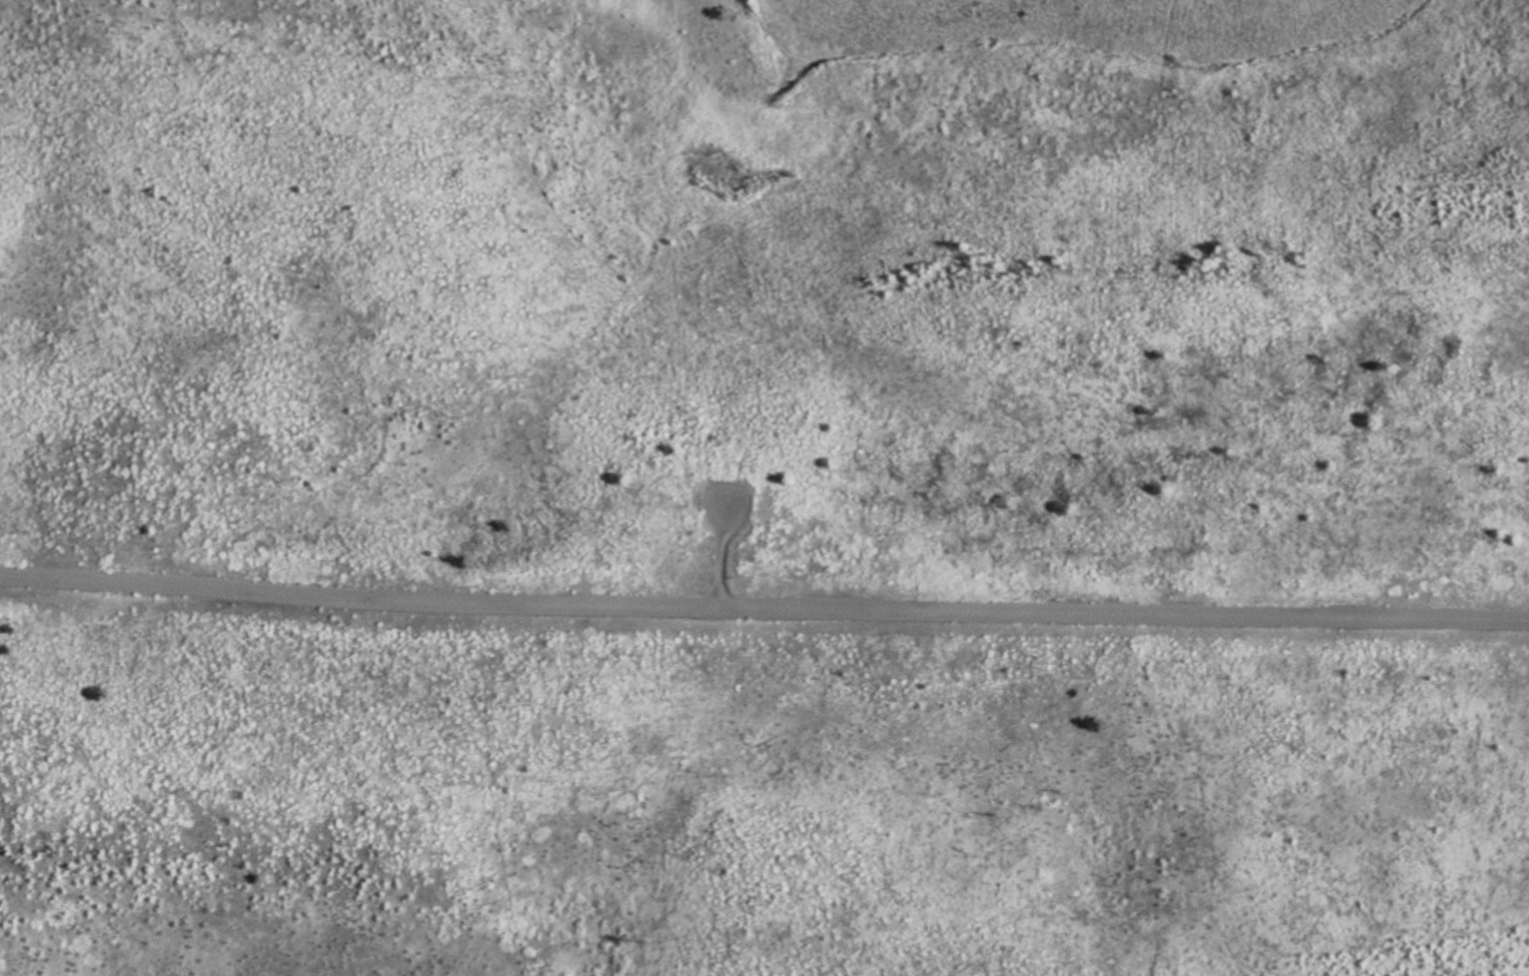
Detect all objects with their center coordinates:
parking lot: (725, 503)
road: (764, 607)

